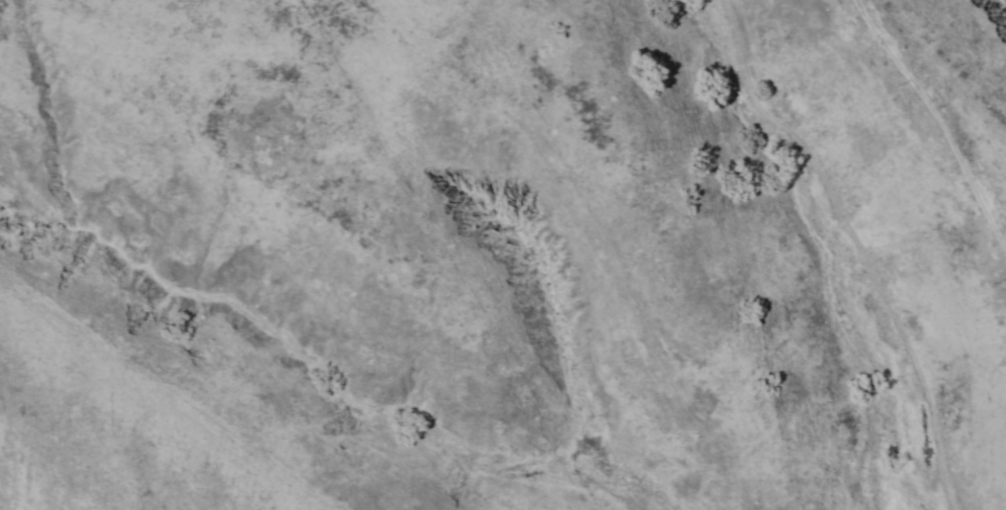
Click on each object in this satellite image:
crop: (961, 169)

